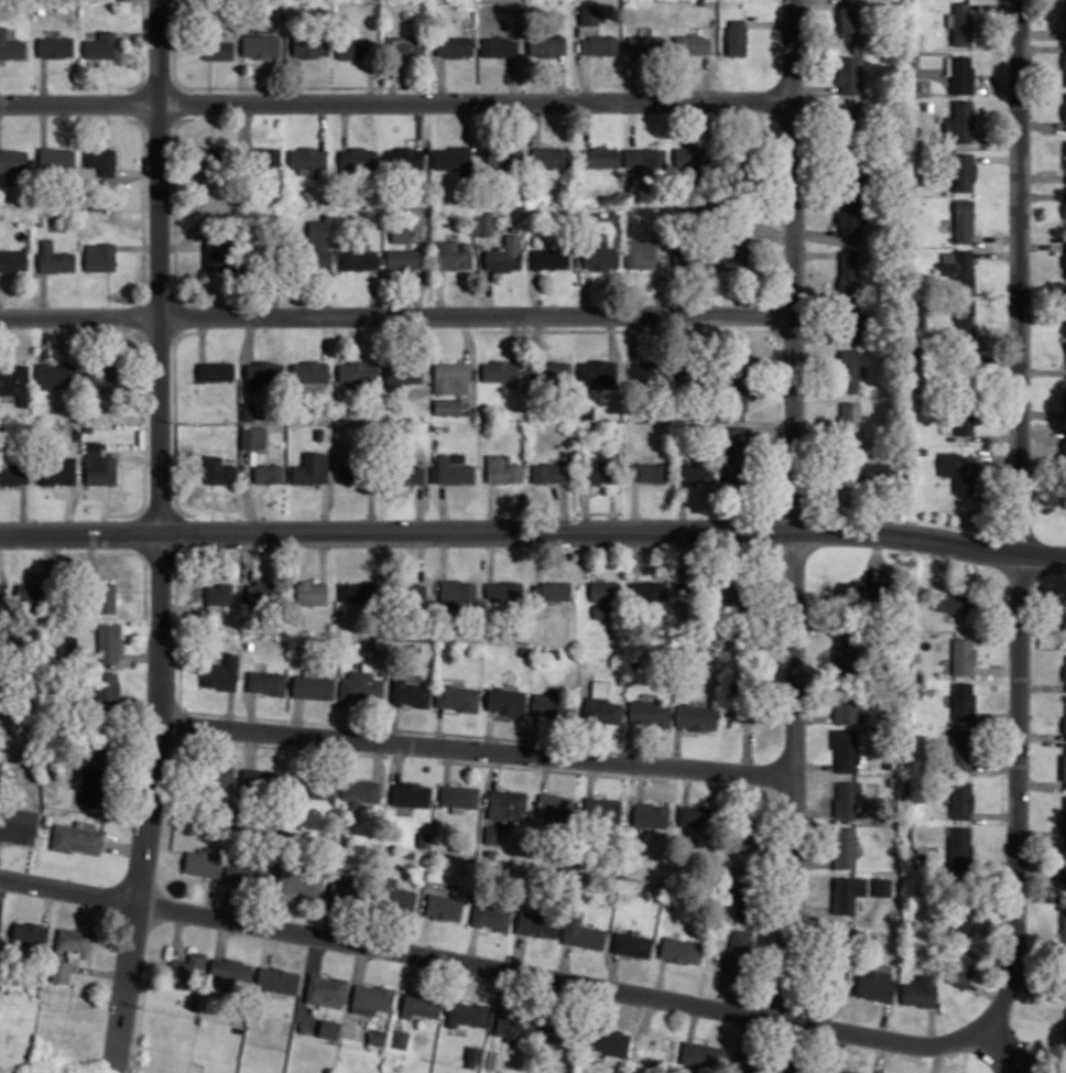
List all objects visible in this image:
building: (701, 1)
road: (997, 6)
building: (1065, 17)
building: (962, 22)
road: (1055, 22)
road: (769, 23)
building: (848, 24)
road: (1042, 33)
road: (138, 34)
building: (736, 36)
building: (692, 43)
building: (260, 44)
building: (405, 44)
building: (546, 44)
building: (599, 44)
building: (643, 44)
building: (11, 45)
building: (55, 45)
building: (100, 45)
building: (311, 45)
building: (454, 45)
building: (355, 46)
building: (499, 46)
road: (1042, 47)
road: (143, 48)
building: (218, 48)
building: (1065, 59)
building: (848, 73)
building: (961, 73)
road: (561, 77)
road: (585, 77)
road: (278, 78)
road: (293, 78)
road: (440, 78)
road: (513, 78)
road: (633, 78)
road: (209, 79)
road: (107, 80)
road: (370, 80)
road: (238, 86)
street lamp: (752, 88)
road: (814, 88)
road: (998, 88)
street lamp: (573, 89)
street lamp: (193, 90)
street lamp: (381, 90)
road: (395, 100)
building: (1065, 110)
building: (849, 121)
building: (959, 121)
road: (466, 122)
road: (537, 122)
road: (586, 122)
road: (44, 123)
road: (213, 123)
road: (418, 123)
road: (108, 124)
road: (247, 124)
road: (1041, 124)
road: (997, 137)
road: (407, 138)
building: (600, 155)
building: (56, 156)
building: (261, 156)
building: (404, 156)
building: (504, 156)
building: (550, 156)
building: (358, 158)
building: (453, 158)
road: (998, 158)
building: (308, 159)
building: (645, 159)
building: (101, 160)
building: (694, 160)
building: (12, 161)
building: (738, 161)
building: (1065, 161)
building: (853, 167)
building: (964, 171)
road: (138, 172)
road: (1042, 176)
road: (1043, 194)
building: (1065, 210)
building: (100, 215)
building: (20, 217)
building: (849, 217)
building: (964, 219)
building: (400, 231)
road: (144, 232)
road: (997, 238)
building: (318, 246)
road: (1042, 246)
road: (138, 247)
building: (220, 252)
building: (641, 252)
building: (505, 253)
building: (735, 253)
road: (997, 253)
building: (452, 254)
building: (599, 254)
building: (100, 256)
building: (693, 257)
building: (54, 258)
building: (358, 258)
building: (403, 258)
building: (551, 258)
building: (1064, 258)
building: (13, 259)
building: (266, 260)
building: (959, 269)
building: (849, 270)
road: (493, 274)
road: (373, 292)
road: (417, 292)
road: (439, 292)
road: (486, 292)
road: (587, 292)
road: (44, 294)
road: (108, 294)
street lamp: (575, 303)
street lamp: (33, 304)
building: (1065, 305)
road: (398, 315)
building: (965, 315)
building: (851, 322)
road: (556, 329)
road: (537, 336)
road: (616, 336)
road: (372, 337)
road: (514, 337)
road: (46, 338)
road: (324, 338)
building: (964, 367)
building: (697, 369)
building: (217, 370)
building: (500, 370)
building: (653, 370)
building: (848, 370)
building: (309, 371)
road: (1042, 371)
building: (552, 372)
building: (598, 372)
building: (262, 373)
building: (356, 373)
building: (401, 373)
building: (56, 377)
building: (98, 377)
building: (452, 377)
building: (13, 378)
building: (737, 384)
building: (1065, 402)
building: (447, 407)
building: (248, 410)
building: (965, 415)
street lamp: (783, 419)
building: (850, 420)
street lamp: (172, 421)
building: (319, 434)
building: (253, 436)
road: (983, 437)
building: (922, 451)
building: (735, 453)
road: (139, 459)
building: (98, 465)
building: (600, 466)
building: (311, 467)
building: (502, 468)
building: (695, 469)
building: (957, 469)
building: (58, 470)
building: (218, 470)
building: (454, 470)
building: (860, 470)
building: (550, 472)
building: (648, 472)
building: (13, 473)
building: (268, 473)
building: (356, 473)
building: (405, 473)
road: (145, 487)
road: (247, 492)
road: (258, 492)
building: (1065, 499)
road: (325, 507)
road: (371, 508)
road: (23, 509)
road: (213, 509)
road: (794, 509)
road: (108, 510)
street lamp: (194, 517)
street lamp: (384, 517)
street lamp: (35, 518)
road: (1019, 518)
road: (533, 531)
road: (161, 536)
road: (875, 554)
road: (48, 556)
road: (91, 556)
road: (250, 556)
road: (323, 556)
road: (144, 560)
road: (942, 564)
road: (257, 575)
building: (646, 588)
building: (695, 588)
building: (863, 588)
road: (138, 589)
building: (552, 589)
building: (456, 590)
building: (504, 590)
building: (262, 592)
building: (311, 592)
building: (359, 592)
building: (218, 593)
building: (409, 594)
building: (36, 596)
building: (105, 596)
building: (603, 596)
building: (740, 597)
building: (0, 598)
building: (955, 603)
street lamp: (149, 617)
building: (1065, 619)
building: (107, 641)
building: (846, 654)
building: (962, 655)
road: (141, 657)
building: (221, 673)
building: (1065, 673)
building: (266, 682)
building: (361, 685)
building: (313, 686)
road: (1042, 686)
building: (107, 690)
building: (410, 692)
building: (743, 694)
building: (457, 697)
building: (505, 700)
building: (962, 700)
building: (552, 704)
building: (845, 705)
road: (229, 709)
building: (600, 709)
road: (251, 712)
building: (649, 712)
road: (296, 716)
road: (578, 716)
building: (696, 716)
road: (344, 719)
road: (330, 722)
building: (1065, 723)
road: (393, 724)
road: (438, 726)
road: (488, 730)
road: (688, 733)
road: (534, 734)
road: (1041, 735)
building: (100, 739)
road: (630, 743)
road: (229, 746)
road: (676, 746)
road: (748, 747)
road: (251, 748)
building: (846, 749)
building: (961, 749)
road: (477, 750)
street lamp: (384, 752)
road: (367, 754)
building: (17, 757)
road: (376, 760)
road: (398, 762)
road: (446, 765)
street lamp: (537, 766)
road: (814, 766)
road: (996, 768)
road: (494, 769)
building: (1065, 769)
road: (570, 770)
road: (544, 772)
building: (211, 773)
street lamp: (807, 774)
road: (590, 778)
road: (454, 779)
building: (262, 780)
road: (640, 782)
street lamp: (718, 782)
road: (1040, 783)
building: (93, 784)
road: (686, 784)
building: (313, 785)
building: (358, 789)
building: (410, 793)
street lamp: (1031, 793)
building: (458, 795)
building: (961, 800)
building: (853, 801)
building: (505, 804)
building: (554, 805)
building: (602, 808)
road: (814, 812)
building: (650, 814)
road: (994, 814)
building: (698, 815)
building: (1064, 823)
building: (749, 824)
building: (19, 825)
road: (1040, 833)
building: (491, 834)
building: (76, 836)
building: (741, 842)
road: (122, 847)
building: (844, 847)
building: (960, 848)
building: (204, 861)
building: (1064, 865)
building: (250, 869)
building: (294, 880)
road: (1, 887)
building: (348, 887)
building: (880, 887)
street lamp: (13, 892)
building: (847, 892)
building: (749, 895)
road: (209, 897)
building: (395, 897)
road: (228, 899)
road: (47, 906)
building: (443, 906)
road: (78, 910)
building: (961, 912)
building: (490, 915)
building: (0, 917)
building: (0, 919)
road: (329, 919)
building: (536, 923)
street lamp: (189, 924)
road: (483, 931)
building: (581, 932)
building: (29, 933)
road: (423, 935)
building: (1063, 935)
road: (221, 936)
building: (73, 941)
road: (471, 944)
building: (632, 944)
road: (269, 945)
road: (577, 947)
building: (679, 950)
road: (315, 953)
road: (519, 953)
building: (736, 953)
street lamp: (350, 954)
road: (90, 956)
road: (623, 956)
road: (360, 962)
road: (565, 963)
building: (188, 967)
building: (962, 967)
road: (320, 969)
building: (61, 971)
road: (99, 971)
building: (232, 971)
road: (412, 971)
building: (830, 971)
road: (519, 972)
road: (613, 972)
road: (458, 978)
road: (660, 978)
building: (276, 979)
street lamp: (491, 979)
building: (1064, 983)
building: (875, 985)
building: (325, 989)
building: (920, 990)
road: (730, 991)
road: (986, 991)
road: (302, 995)
building: (371, 998)
building: (420, 1004)
street lamp: (640, 1007)
road: (648, 1011)
building: (466, 1012)
road: (883, 1020)
road: (693, 1021)
building: (513, 1025)
road: (931, 1027)
building: (328, 1028)
road: (653, 1028)
building: (1065, 1029)
building: (558, 1030)
building: (377, 1036)
road: (699, 1037)
building: (400, 1038)
building: (608, 1040)
building: (1064, 1044)
building: (655, 1047)
street lamp: (969, 1052)
building: (474, 1053)
building: (703, 1054)
road: (883, 1056)
building: (493, 1060)
building: (750, 1063)
building: (795, 1065)
building: (534, 1070)
building: (838, 1070)
building: (1064, 1070)

